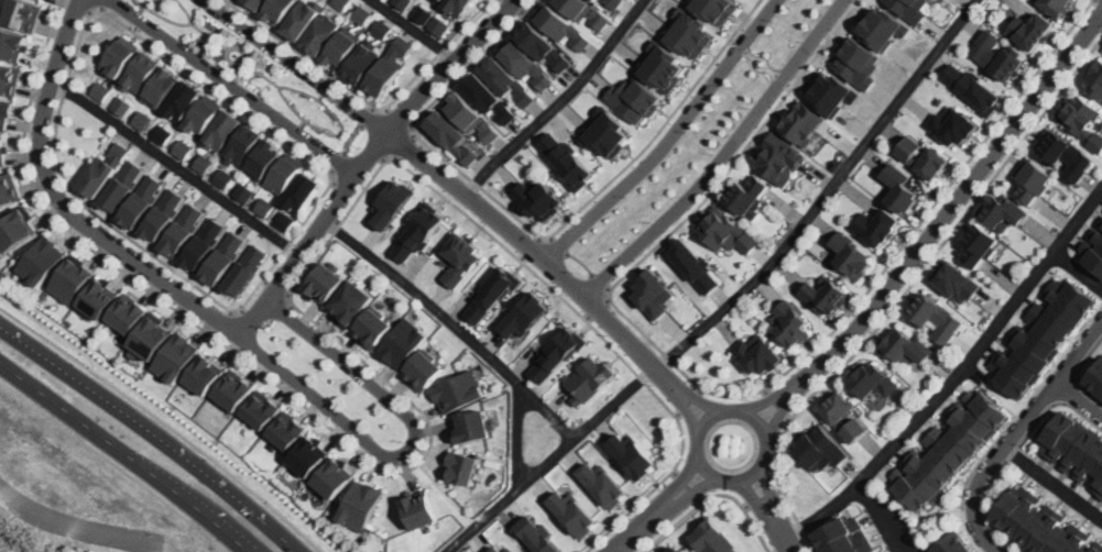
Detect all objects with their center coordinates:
building: (438, 0)
building: (441, 0)
building: (596, 0)
road: (1098, 2)
road: (98, 3)
building: (340, 3)
building: (401, 3)
building: (612, 3)
building: (254, 4)
building: (457, 4)
building: (1056, 4)
road: (76, 7)
road: (514, 7)
road: (142, 8)
building: (714, 8)
building: (912, 9)
building: (277, 10)
building: (585, 11)
building: (421, 12)
building: (22, 13)
building: (361, 13)
building: (302, 20)
road: (174, 21)
building: (559, 24)
building: (439, 25)
building: (883, 26)
building: (382, 27)
road: (415, 29)
building: (1030, 30)
building: (688, 32)
building: (323, 33)
road: (208, 34)
road: (242, 42)
building: (10, 43)
building: (543, 44)
road: (738, 45)
building: (341, 46)
building: (997, 54)
road: (73, 55)
building: (121, 55)
road: (750, 55)
road: (231, 60)
road: (753, 62)
building: (858, 62)
building: (362, 63)
building: (523, 63)
road: (226, 64)
road: (448, 64)
road: (296, 65)
building: (662, 65)
building: (388, 67)
building: (140, 71)
park: (258, 71)
road: (260, 71)
road: (773, 71)
building: (8, 77)
building: (1095, 79)
building: (505, 80)
road: (784, 81)
road: (232, 85)
building: (970, 86)
building: (160, 88)
building: (101, 90)
building: (831, 91)
road: (320, 96)
building: (487, 97)
building: (634, 98)
building: (183, 100)
road: (364, 100)
road: (558, 101)
building: (121, 104)
building: (4, 112)
building: (203, 114)
road: (370, 114)
building: (471, 115)
road: (396, 117)
building: (144, 119)
building: (1081, 120)
road: (301, 121)
building: (803, 122)
building: (951, 124)
building: (221, 129)
road: (341, 131)
building: (605, 131)
building: (162, 133)
road: (345, 135)
road: (350, 135)
building: (450, 135)
road: (668, 137)
road: (402, 142)
building: (241, 144)
building: (184, 148)
building: (1, 153)
building: (1061, 153)
road: (722, 155)
building: (924, 156)
building: (262, 157)
building: (778, 157)
building: (567, 159)
building: (203, 163)
road: (336, 164)
road: (176, 165)
building: (103, 169)
building: (284, 174)
building: (223, 177)
building: (1032, 180)
building: (122, 185)
building: (899, 186)
building: (7, 189)
building: (244, 191)
road: (825, 191)
building: (303, 192)
building: (746, 194)
building: (536, 198)
building: (141, 199)
road: (956, 201)
building: (391, 202)
building: (263, 206)
building: (1002, 209)
building: (163, 213)
building: (285, 221)
building: (875, 225)
building: (17, 229)
building: (182, 230)
building: (727, 230)
building: (418, 231)
road: (533, 231)
road: (312, 232)
building: (978, 243)
building: (203, 244)
road: (528, 246)
road: (557, 246)
road: (532, 250)
building: (1093, 252)
building: (853, 255)
building: (459, 256)
building: (42, 258)
building: (222, 258)
road: (580, 261)
building: (691, 263)
building: (244, 271)
road: (1077, 271)
building: (4, 274)
building: (72, 279)
building: (953, 279)
building: (325, 283)
road: (600, 283)
road: (907, 289)
building: (491, 291)
building: (651, 291)
building: (825, 296)
building: (100, 298)
building: (352, 302)
road: (596, 307)
building: (129, 313)
building: (523, 314)
building: (934, 317)
road: (454, 321)
building: (793, 323)
building: (374, 327)
road: (238, 334)
building: (1041, 334)
building: (151, 336)
building: (405, 343)
building: (906, 346)
building: (557, 353)
building: (756, 353)
road: (357, 355)
building: (177, 356)
building: (424, 371)
building: (206, 373)
road: (956, 374)
building: (1094, 377)
building: (872, 378)
building: (589, 379)
building: (460, 389)
building: (234, 391)
road: (728, 395)
road: (696, 396)
road: (773, 396)
road: (1079, 398)
road: (689, 400)
road: (778, 404)
road: (683, 406)
road: (68, 408)
road: (783, 408)
building: (261, 411)
building: (843, 411)
road: (1010, 421)
road: (165, 423)
building: (471, 423)
building: (288, 429)
road: (1015, 431)
road: (152, 434)
road: (516, 434)
building: (821, 446)
building: (946, 449)
building: (1076, 450)
building: (634, 455)
building: (308, 456)
road: (550, 459)
road: (114, 464)
building: (462, 467)
building: (295, 468)
building: (335, 477)
road: (728, 478)
road: (681, 479)
road: (1054, 482)
building: (602, 483)
road: (688, 485)
road: (771, 489)
road: (695, 490)
road: (712, 494)
road: (764, 495)
road: (759, 500)
road: (199, 504)
building: (361, 504)
building: (421, 508)
building: (572, 510)
road: (882, 515)
building: (1043, 525)
road: (639, 528)
building: (537, 533)
road: (21, 534)
building: (844, 536)
building: (714, 538)
road: (786, 538)
building: (952, 544)
road: (784, 547)
building: (498, 549)
building: (675, 550)

